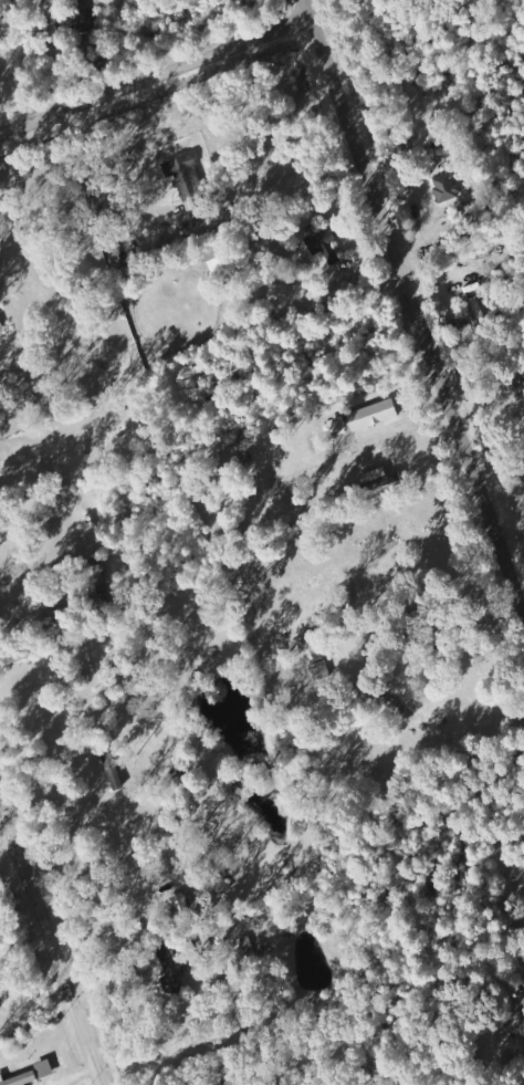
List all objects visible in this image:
building: (85, 19)
road: (150, 77)
building: (186, 176)
building: (447, 187)
building: (323, 241)
road: (410, 311)
building: (376, 414)
building: (339, 424)
building: (317, 650)
building: (180, 904)
road: (49, 947)
building: (172, 968)
building: (46, 1068)
building: (20, 1078)
building: (243, 1083)

